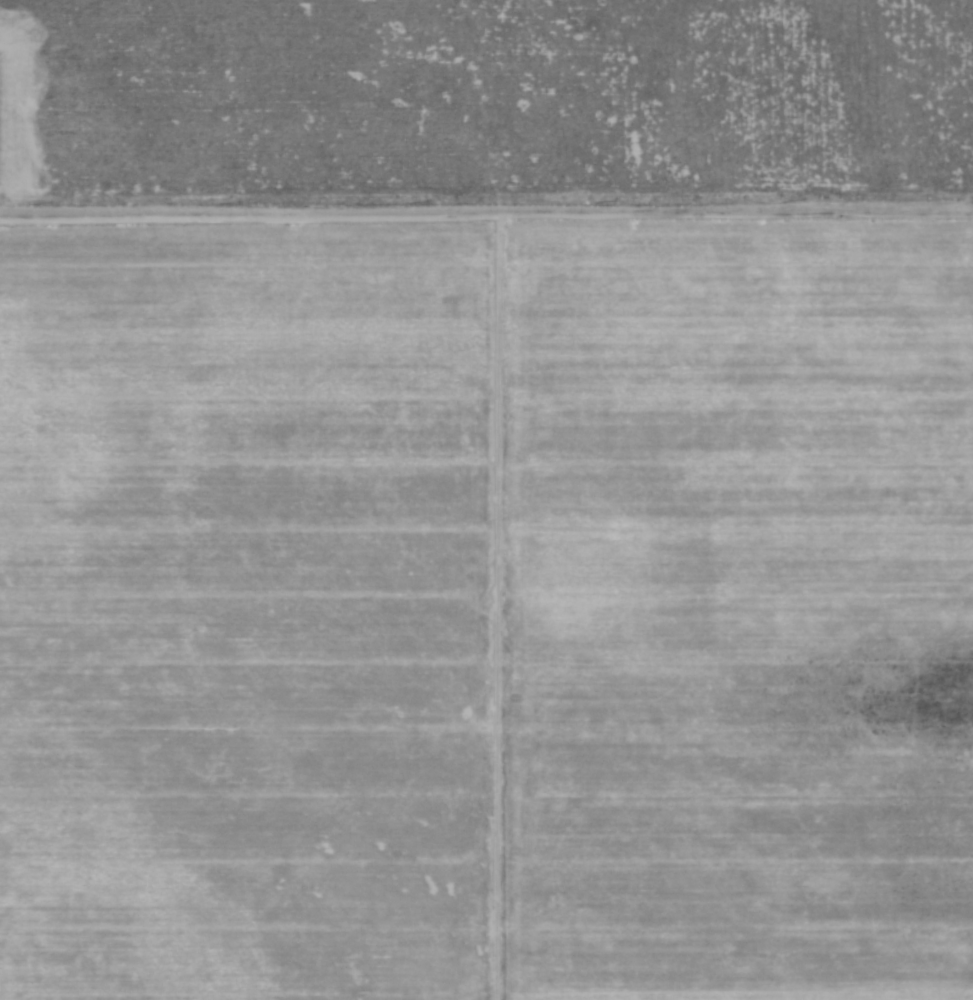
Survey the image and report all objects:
road: (486, 217)
crop: (735, 611)
crop: (245, 612)

